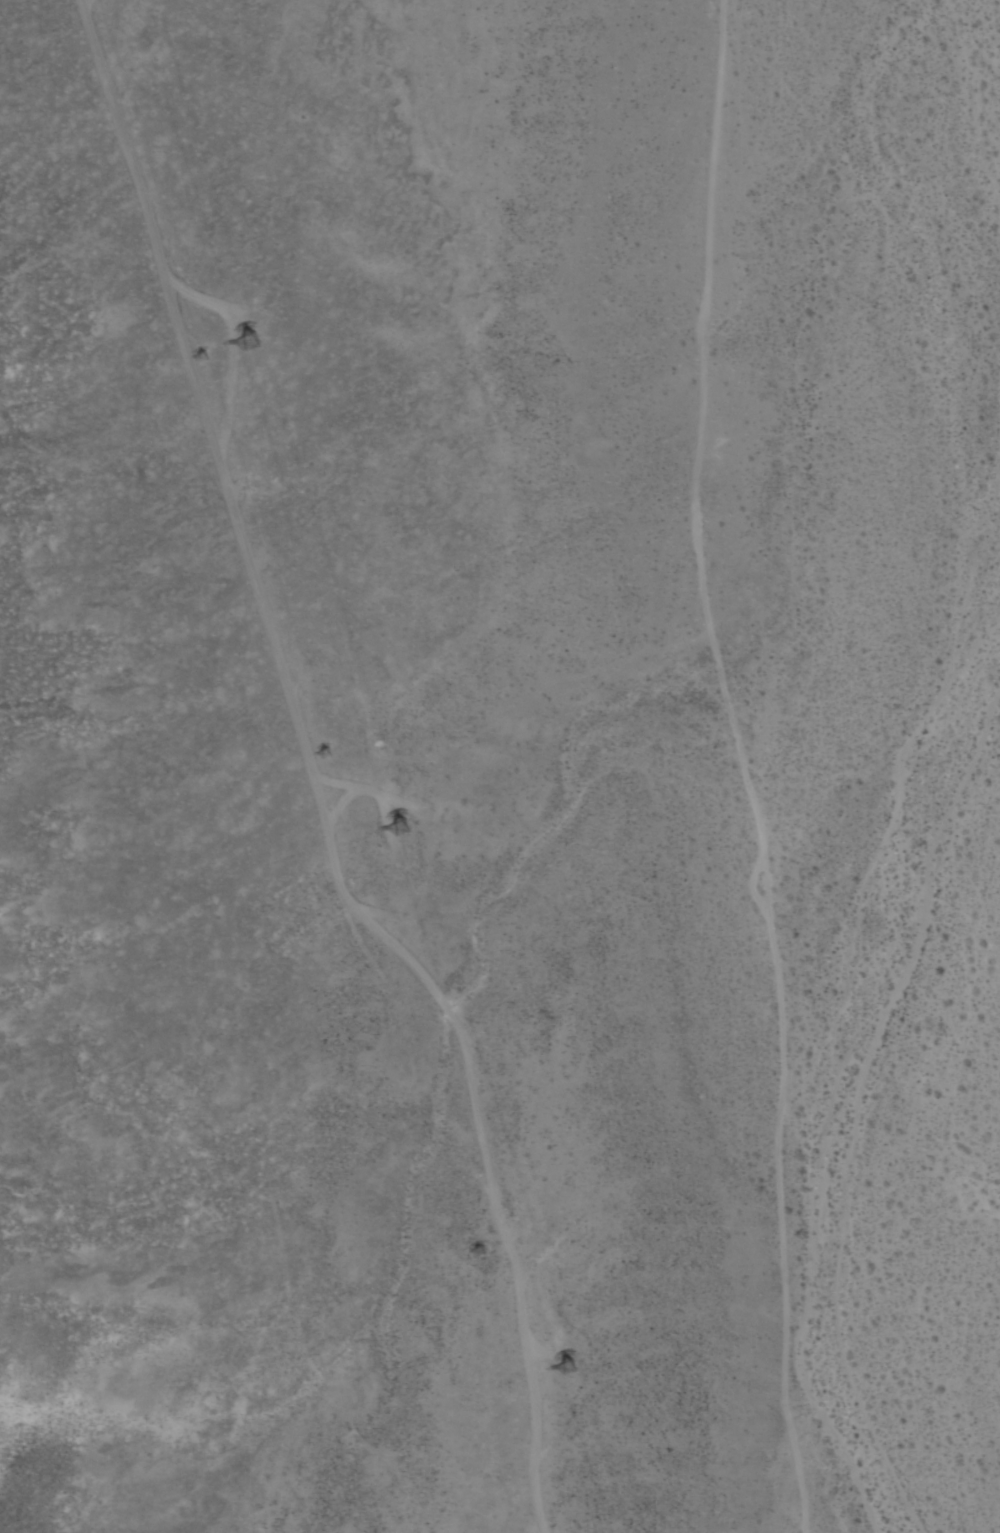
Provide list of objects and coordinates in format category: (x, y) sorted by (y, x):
power tower: (246, 345)
power tower: (206, 360)
power tower: (327, 759)
power tower: (402, 829)
power tower: (470, 1256)
power tower: (565, 1379)

